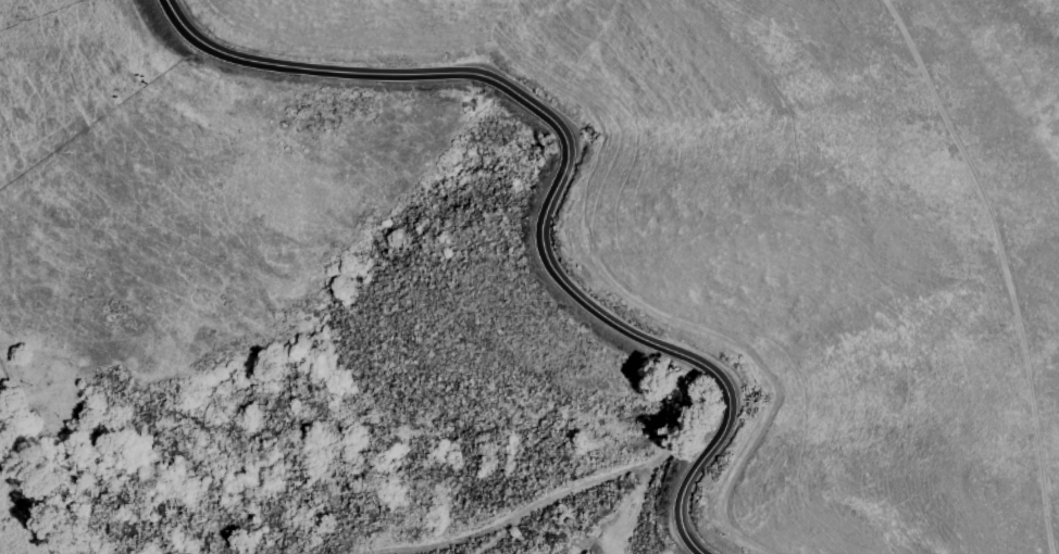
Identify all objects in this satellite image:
road: (558, 182)
road: (635, 466)
road: (459, 534)

